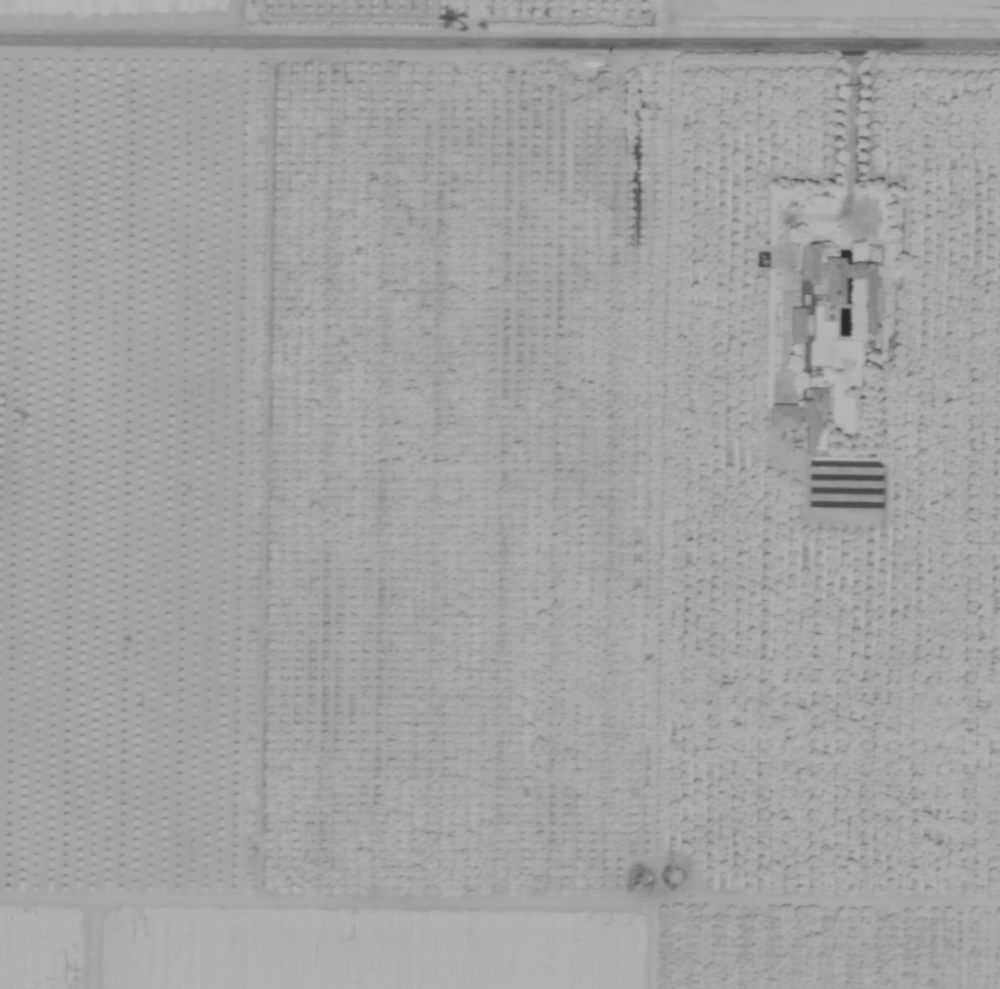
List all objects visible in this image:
road: (499, 39)
road: (816, 218)
building: (837, 281)
building: (795, 325)
building: (800, 418)
crop: (500, 494)

